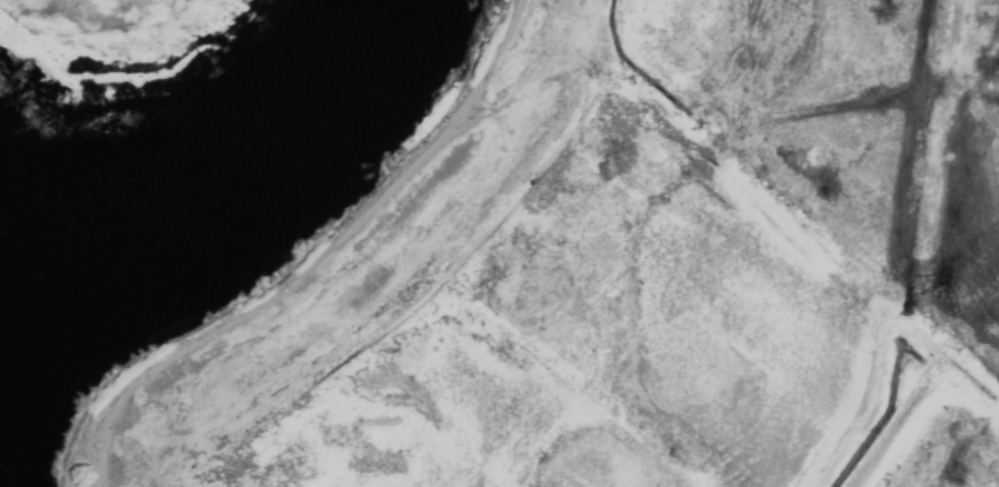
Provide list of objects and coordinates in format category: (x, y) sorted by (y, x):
river: (235, 170)
crop: (639, 270)

